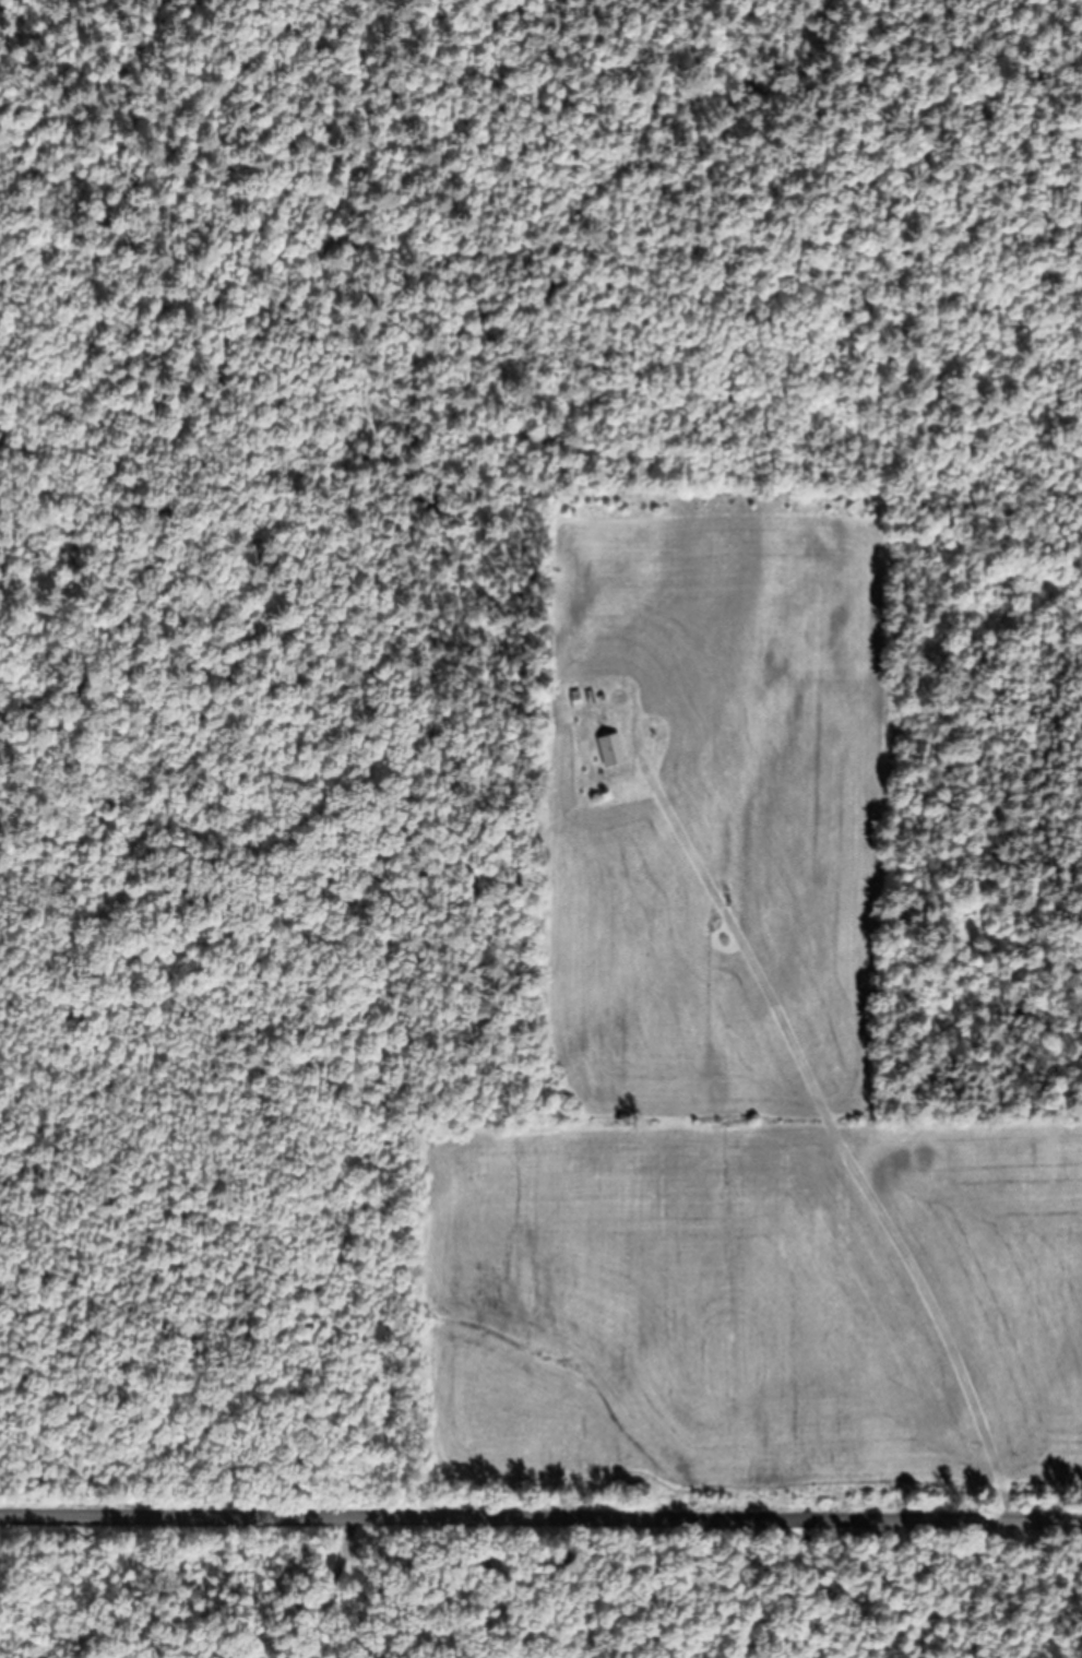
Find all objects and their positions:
building: (609, 746)
road: (540, 1523)

